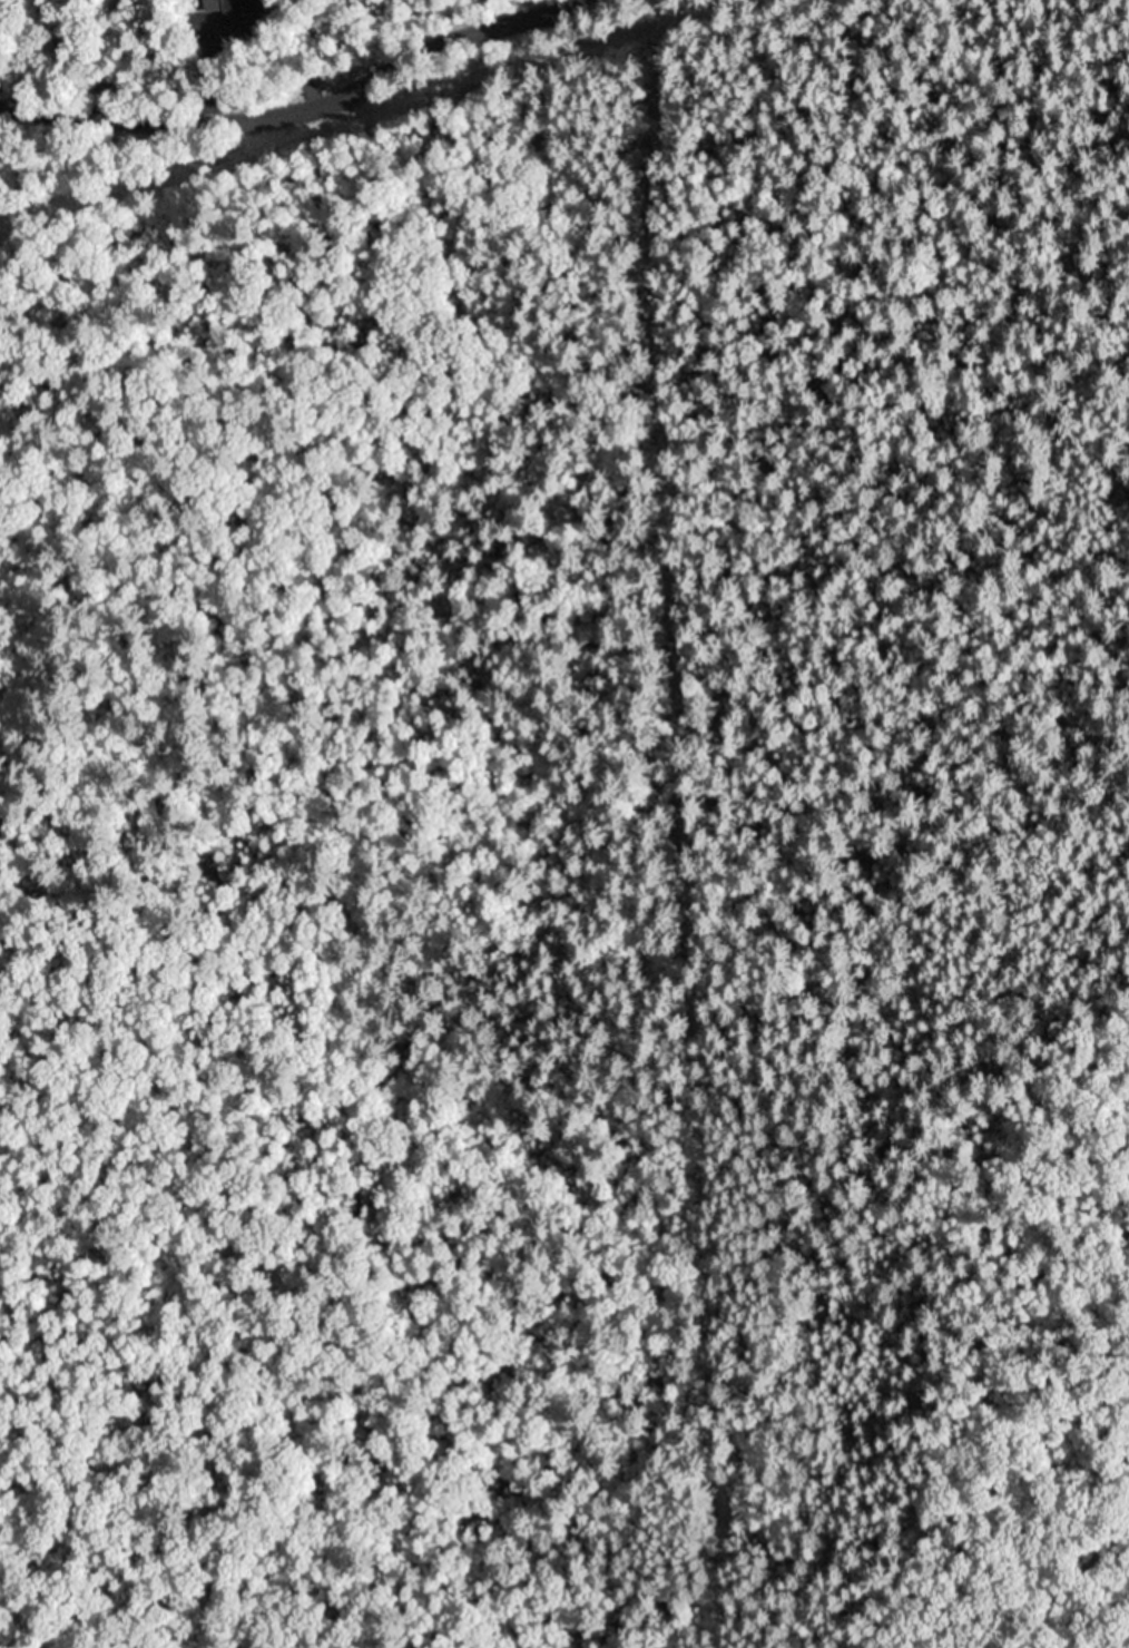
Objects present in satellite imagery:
building: (243, 6)
building: (404, 68)
road: (302, 110)

